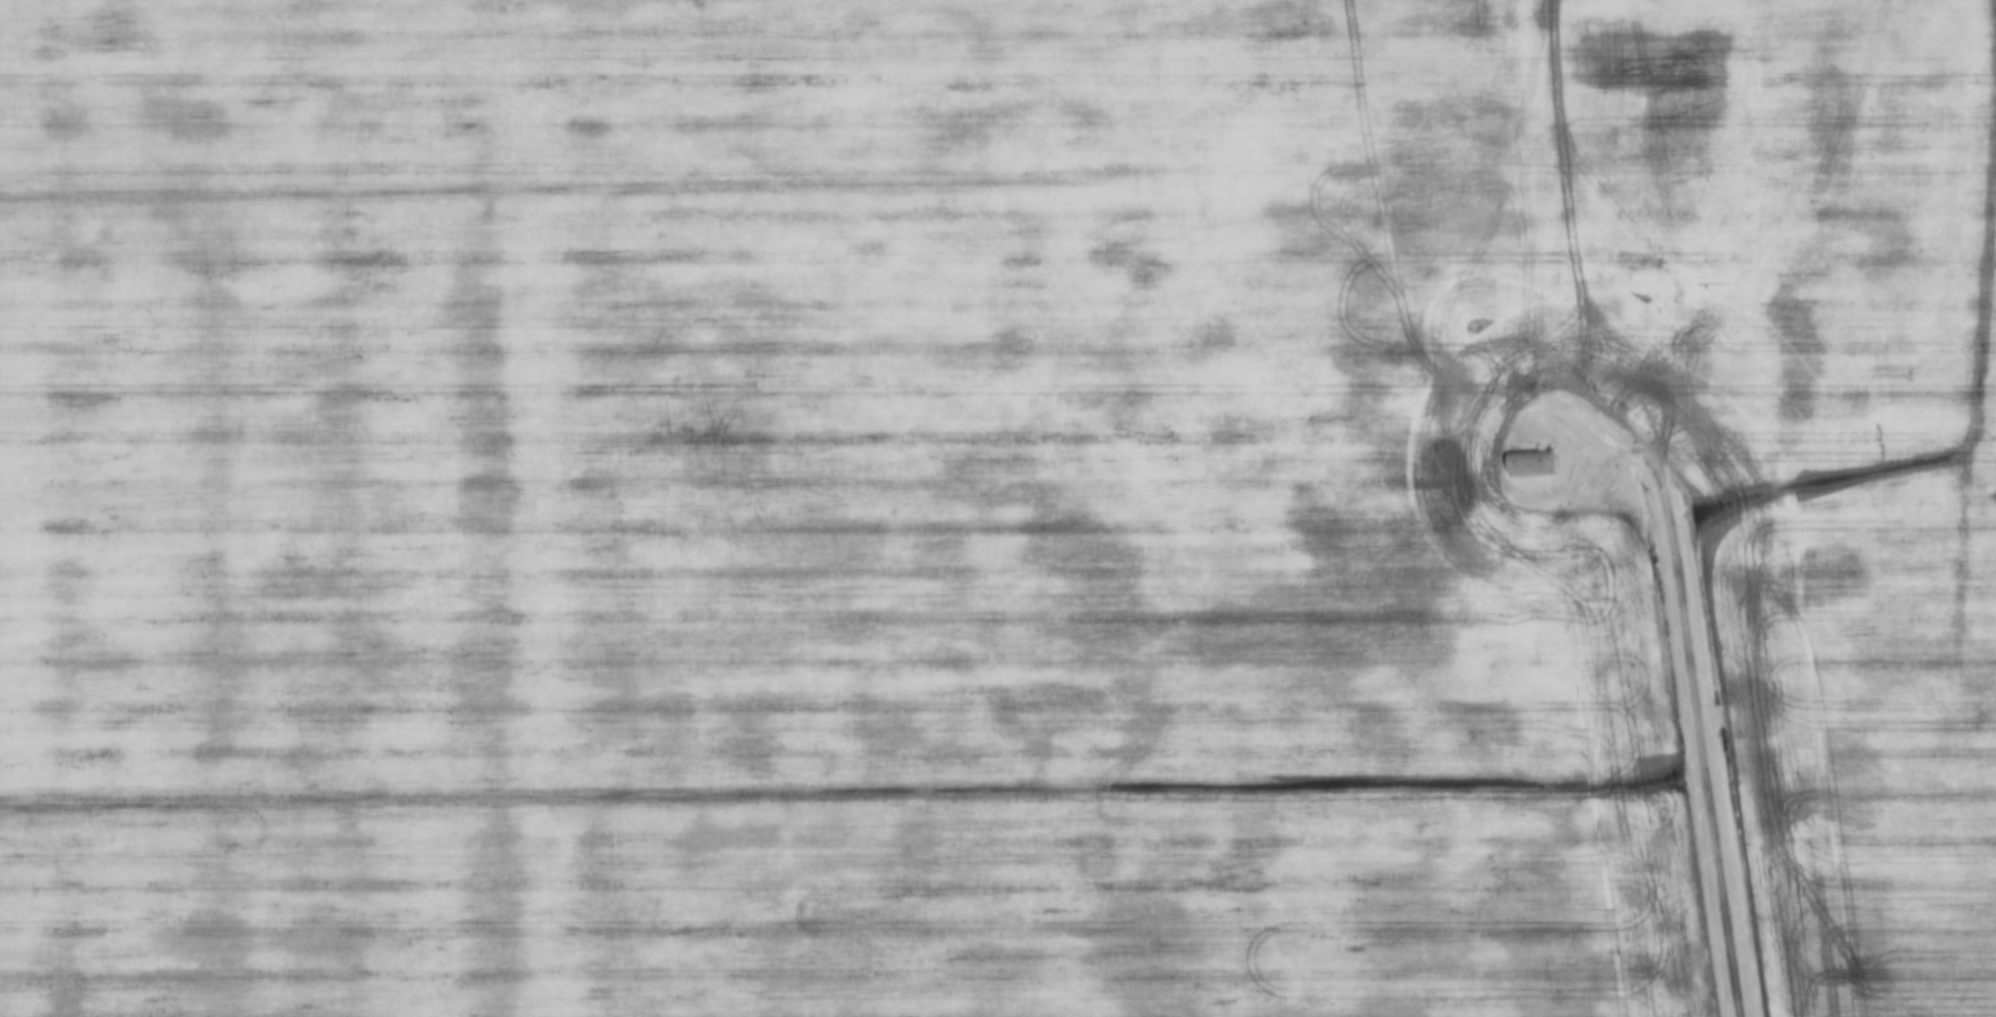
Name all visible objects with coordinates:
road: (1694, 697)

